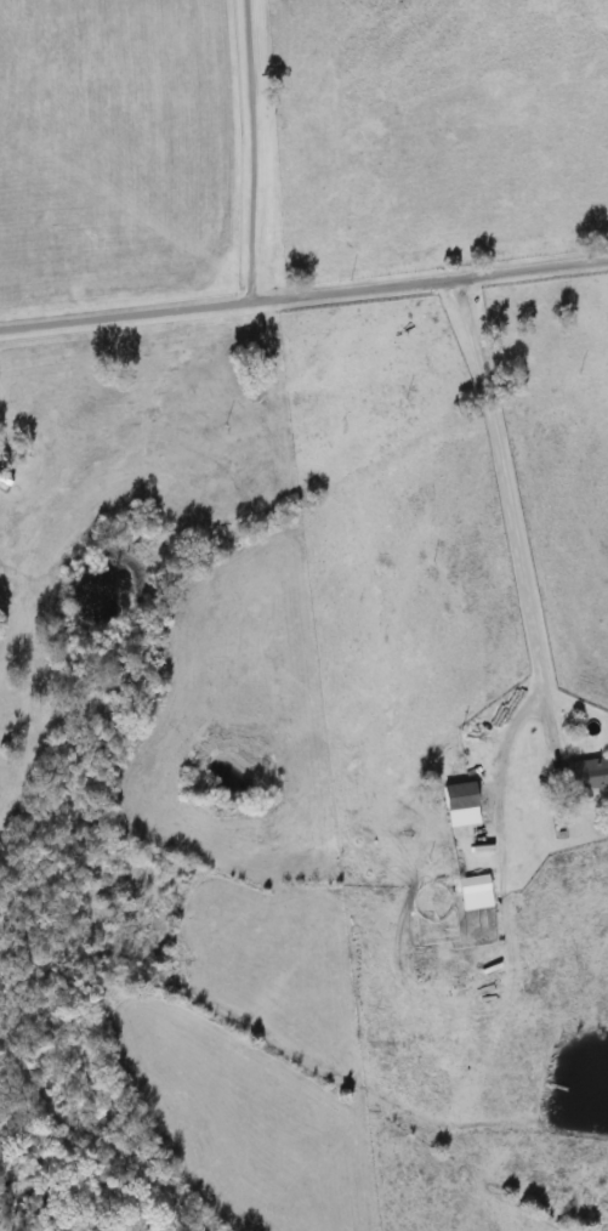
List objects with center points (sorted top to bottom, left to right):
road: (242, 152)
road: (303, 296)
road: (499, 505)
building: (584, 776)
building: (400, 839)
building: (470, 892)

